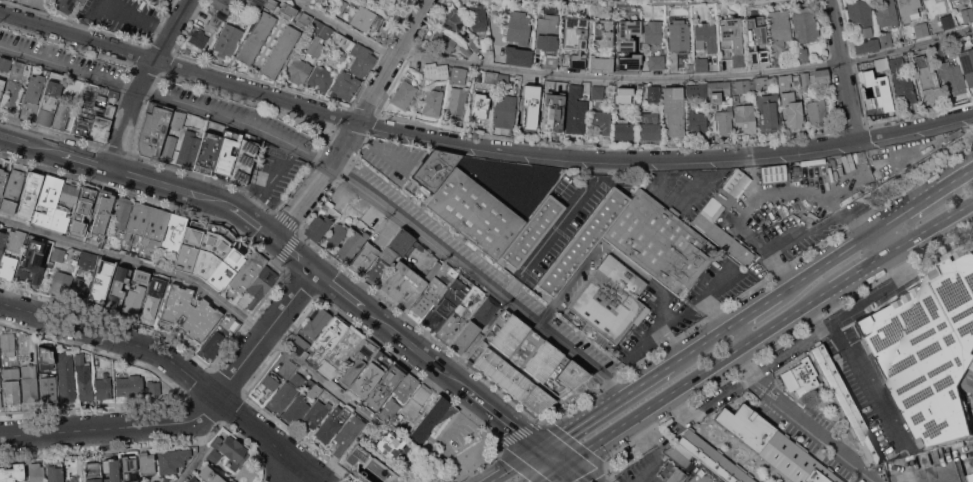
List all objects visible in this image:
road: (545, 0)
building: (949, 0)
building: (963, 0)
building: (165, 1)
road: (305, 2)
building: (257, 3)
road: (634, 3)
building: (66, 4)
building: (271, 4)
building: (223, 5)
building: (972, 5)
building: (909, 9)
building: (287, 11)
building: (887, 14)
building: (967, 14)
building: (361, 17)
building: (477, 17)
building: (454, 19)
building: (304, 20)
building: (947, 21)
building: (214, 24)
building: (805, 24)
building: (864, 26)
building: (518, 27)
building: (320, 28)
road: (344, 28)
building: (921, 29)
building: (753, 30)
building: (778, 30)
building: (653, 32)
building: (547, 33)
building: (602, 33)
building: (627, 35)
building: (574, 36)
building: (679, 36)
building: (256, 37)
building: (706, 37)
building: (198, 38)
building: (732, 38)
building: (885, 39)
building: (228, 40)
building: (443, 41)
building: (343, 42)
building: (485, 45)
building: (316, 46)
building: (474, 46)
building: (279, 50)
building: (465, 50)
building: (939, 52)
building: (802, 55)
building: (518, 56)
building: (362, 60)
building: (652, 61)
building: (758, 61)
building: (573, 62)
building: (629, 62)
building: (550, 63)
building: (600, 63)
building: (5, 64)
building: (700, 64)
road: (178, 65)
building: (880, 65)
building: (967, 65)
building: (298, 70)
road: (841, 70)
building: (436, 71)
building: (458, 75)
building: (321, 77)
building: (409, 77)
building: (490, 77)
building: (952, 77)
road: (140, 78)
building: (503, 78)
road: (686, 78)
building: (814, 78)
building: (928, 79)
building: (761, 82)
building: (784, 82)
building: (15, 83)
building: (902, 83)
building: (1, 85)
building: (346, 85)
building: (741, 86)
building: (640, 87)
building: (880, 90)
building: (693, 91)
building: (597, 92)
building: (717, 93)
building: (404, 94)
building: (623, 95)
building: (32, 96)
building: (49, 98)
building: (433, 103)
building: (457, 103)
building: (528, 105)
building: (478, 108)
building: (793, 109)
building: (575, 110)
building: (673, 110)
building: (817, 110)
building: (504, 111)
building: (553, 111)
building: (768, 112)
building: (92, 114)
building: (650, 115)
building: (61, 116)
building: (189, 118)
building: (744, 118)
building: (177, 119)
road: (356, 120)
building: (602, 121)
building: (724, 121)
building: (696, 122)
building: (220, 128)
building: (152, 129)
building: (624, 130)
road: (31, 142)
building: (168, 147)
building: (189, 149)
building: (208, 152)
building: (227, 152)
road: (665, 158)
road: (87, 159)
building: (242, 161)
building: (435, 169)
road: (338, 173)
building: (773, 173)
building: (2, 180)
road: (694, 182)
building: (12, 191)
road: (762, 192)
building: (30, 193)
building: (70, 193)
road: (500, 195)
building: (849, 198)
building: (48, 201)
road: (221, 203)
road: (924, 203)
building: (324, 206)
building: (83, 209)
building: (103, 212)
building: (122, 212)
building: (475, 212)
road: (565, 213)
building: (708, 215)
building: (336, 216)
building: (60, 220)
building: (439, 224)
building: (148, 226)
building: (317, 227)
road: (932, 228)
building: (173, 232)
building: (531, 232)
road: (800, 233)
building: (336, 236)
building: (114, 238)
building: (2, 240)
building: (16, 241)
building: (583, 241)
building: (660, 242)
building: (352, 243)
road: (883, 243)
building: (33, 246)
building: (189, 246)
building: (212, 249)
building: (58, 254)
building: (390, 256)
building: (363, 258)
building: (87, 260)
road: (623, 260)
building: (486, 261)
road: (829, 263)
building: (8, 267)
building: (108, 267)
building: (224, 268)
building: (245, 270)
building: (30, 272)
road: (861, 272)
building: (141, 276)
building: (158, 280)
building: (61, 283)
road: (200, 284)
building: (260, 284)
building: (79, 286)
building: (402, 286)
building: (117, 287)
building: (436, 288)
road: (344, 290)
building: (98, 291)
road: (705, 298)
building: (535, 299)
building: (609, 299)
building: (134, 300)
building: (448, 303)
building: (152, 304)
road: (761, 307)
building: (487, 310)
building: (188, 311)
building: (461, 316)
building: (227, 319)
building: (317, 322)
building: (220, 329)
road: (739, 336)
building: (465, 338)
road: (642, 339)
building: (327, 340)
road: (704, 342)
building: (8, 344)
building: (299, 345)
building: (210, 346)
building: (928, 349)
road: (421, 351)
building: (341, 352)
building: (46, 356)
road: (165, 358)
building: (359, 361)
building: (525, 364)
road: (867, 370)
building: (11, 373)
building: (395, 375)
building: (369, 376)
building: (66, 377)
building: (84, 378)
road: (698, 378)
building: (272, 379)
building: (799, 380)
building: (969, 381)
building: (0, 383)
building: (30, 384)
building: (103, 385)
building: (136, 386)
building: (406, 387)
building: (48, 389)
building: (312, 389)
building: (287, 391)
building: (12, 392)
building: (972, 393)
building: (376, 397)
building: (0, 400)
building: (972, 400)
building: (847, 404)
building: (414, 407)
road: (607, 407)
building: (297, 408)
building: (389, 410)
building: (315, 414)
road: (192, 417)
road: (508, 419)
building: (430, 420)
road: (801, 421)
building: (331, 424)
building: (347, 434)
road: (447, 436)
building: (774, 445)
building: (391, 447)
building: (231, 448)
traffic signals: (546, 449)
road: (200, 451)
building: (678, 455)
building: (212, 457)
road: (555, 457)
building: (712, 458)
building: (172, 460)
building: (146, 463)
building: (368, 463)
road: (518, 465)
traffic signals: (565, 465)
building: (129, 468)
building: (111, 470)
building: (229, 470)
building: (91, 471)
building: (12, 472)
building: (36, 472)
building: (54, 472)
road: (553, 473)
road: (575, 473)
building: (208, 475)
building: (675, 475)
road: (943, 477)
building: (970, 477)
road: (289, 478)
building: (71, 479)
building: (194, 480)
building: (357, 481)
park: (508, 481)

